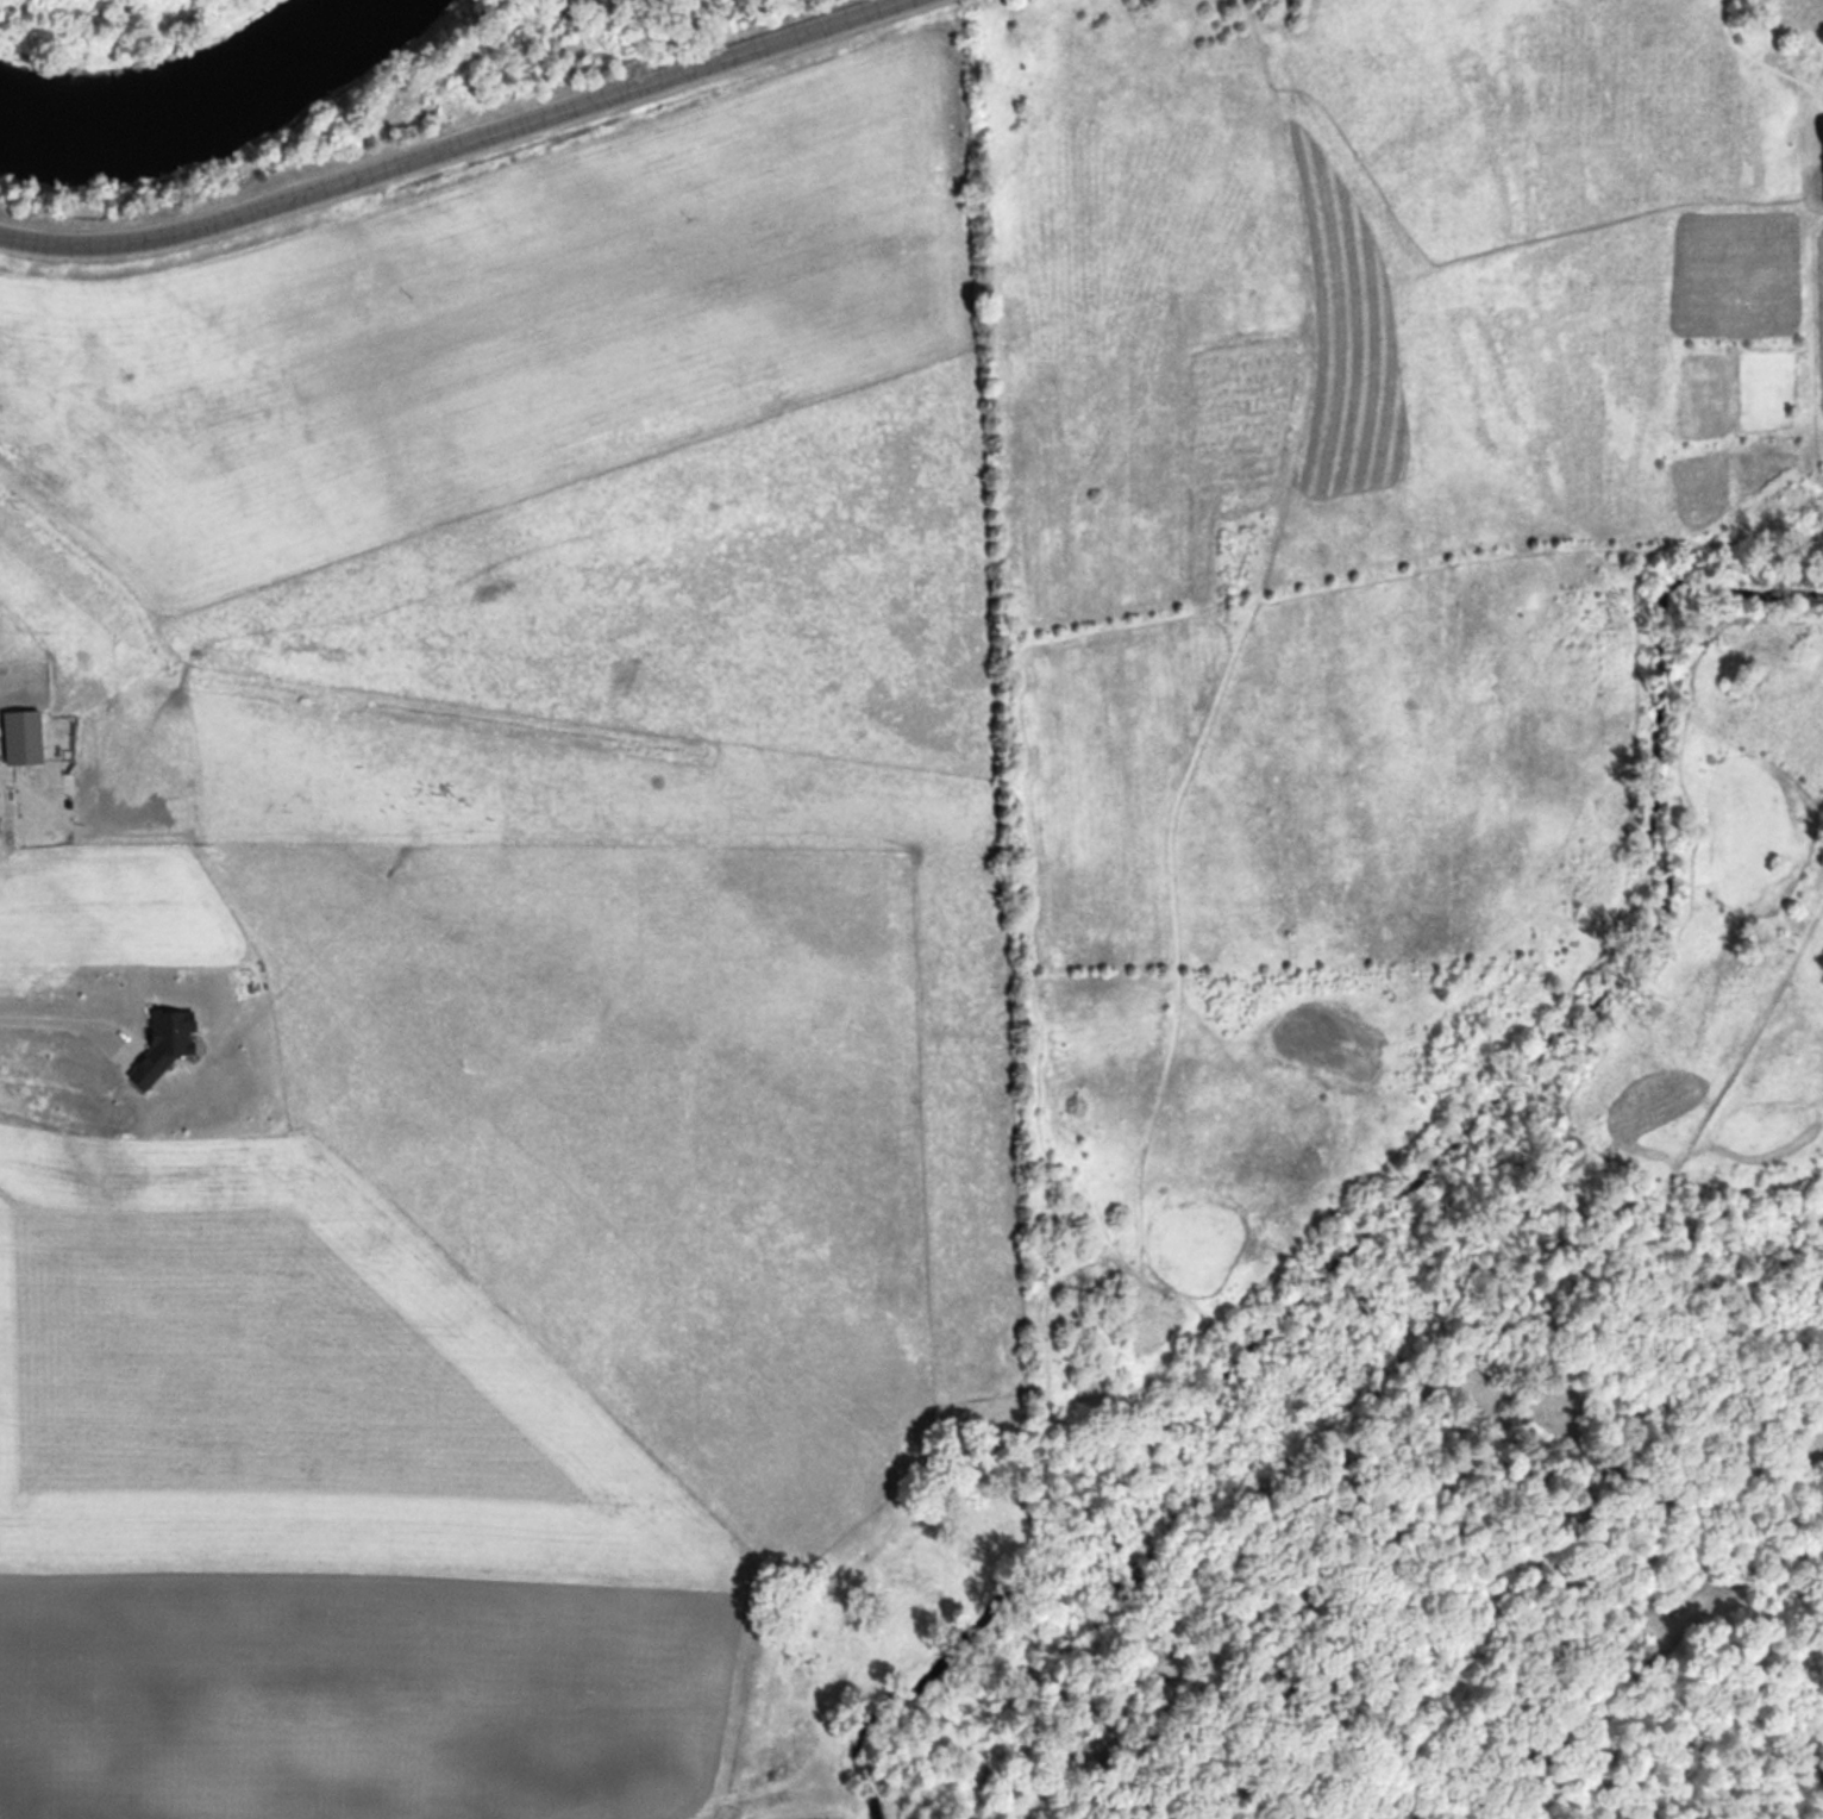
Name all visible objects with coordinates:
river: (187, 93)
road: (474, 150)
building: (1822, 161)
building: (20, 736)

